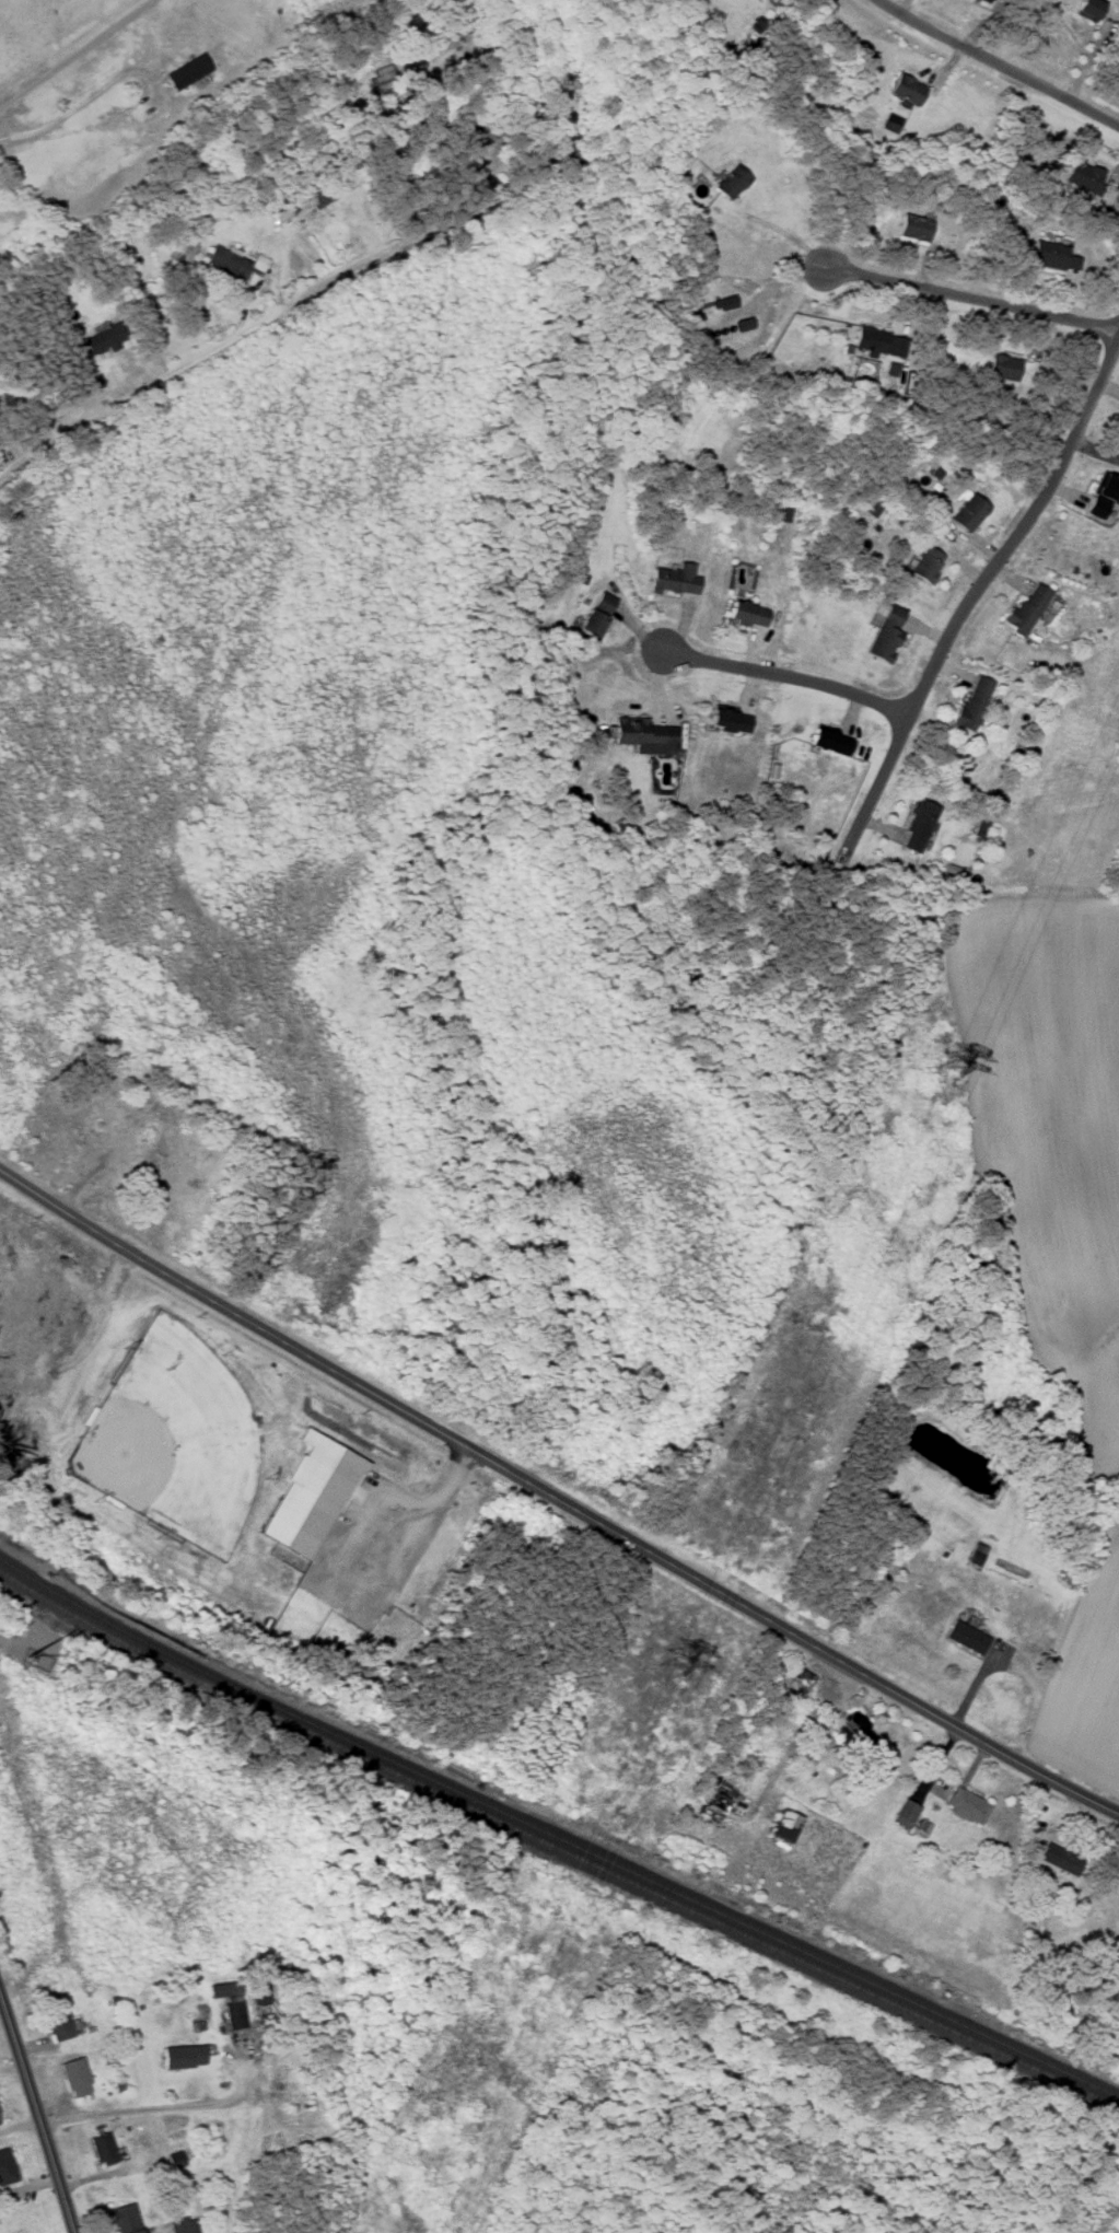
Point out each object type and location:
building: (986, 0)
building: (1089, 9)
road: (77, 56)
road: (1000, 63)
building: (188, 70)
building: (383, 78)
road: (151, 83)
building: (908, 89)
building: (893, 123)
road: (15, 138)
building: (1083, 177)
building: (731, 183)
building: (913, 228)
building: (1053, 256)
building: (226, 263)
road: (970, 299)
building: (722, 304)
building: (103, 340)
building: (883, 347)
road: (199, 356)
building: (1002, 368)
building: (1100, 496)
building: (966, 512)
building: (924, 565)
building: (674, 579)
road: (975, 590)
building: (1024, 608)
building: (746, 613)
building: (595, 615)
building: (884, 635)
road: (788, 674)
building: (971, 703)
building: (727, 722)
building: (641, 732)
building: (828, 742)
building: (918, 826)
power tower: (948, 1060)
building: (313, 1495)
road: (556, 1496)
building: (975, 1555)
road: (349, 1605)
railway: (100, 1617)
building: (965, 1638)
road: (7, 1642)
power tower: (669, 1668)
building: (800, 1676)
building: (858, 1734)
road: (797, 1735)
building: (965, 1805)
building: (906, 1811)
building: (784, 1826)
railway: (555, 1849)
building: (1066, 1859)
railway: (661, 1885)
building: (1111, 1961)
building: (225, 1989)
building: (258, 1993)
building: (232, 2014)
building: (56, 2023)
building: (182, 2056)
building: (74, 2077)
road: (154, 2107)
road: (36, 2116)
building: (0, 2119)
building: (101, 2149)
building: (4, 2166)
building: (124, 2218)
building: (178, 2225)
building: (194, 2225)

